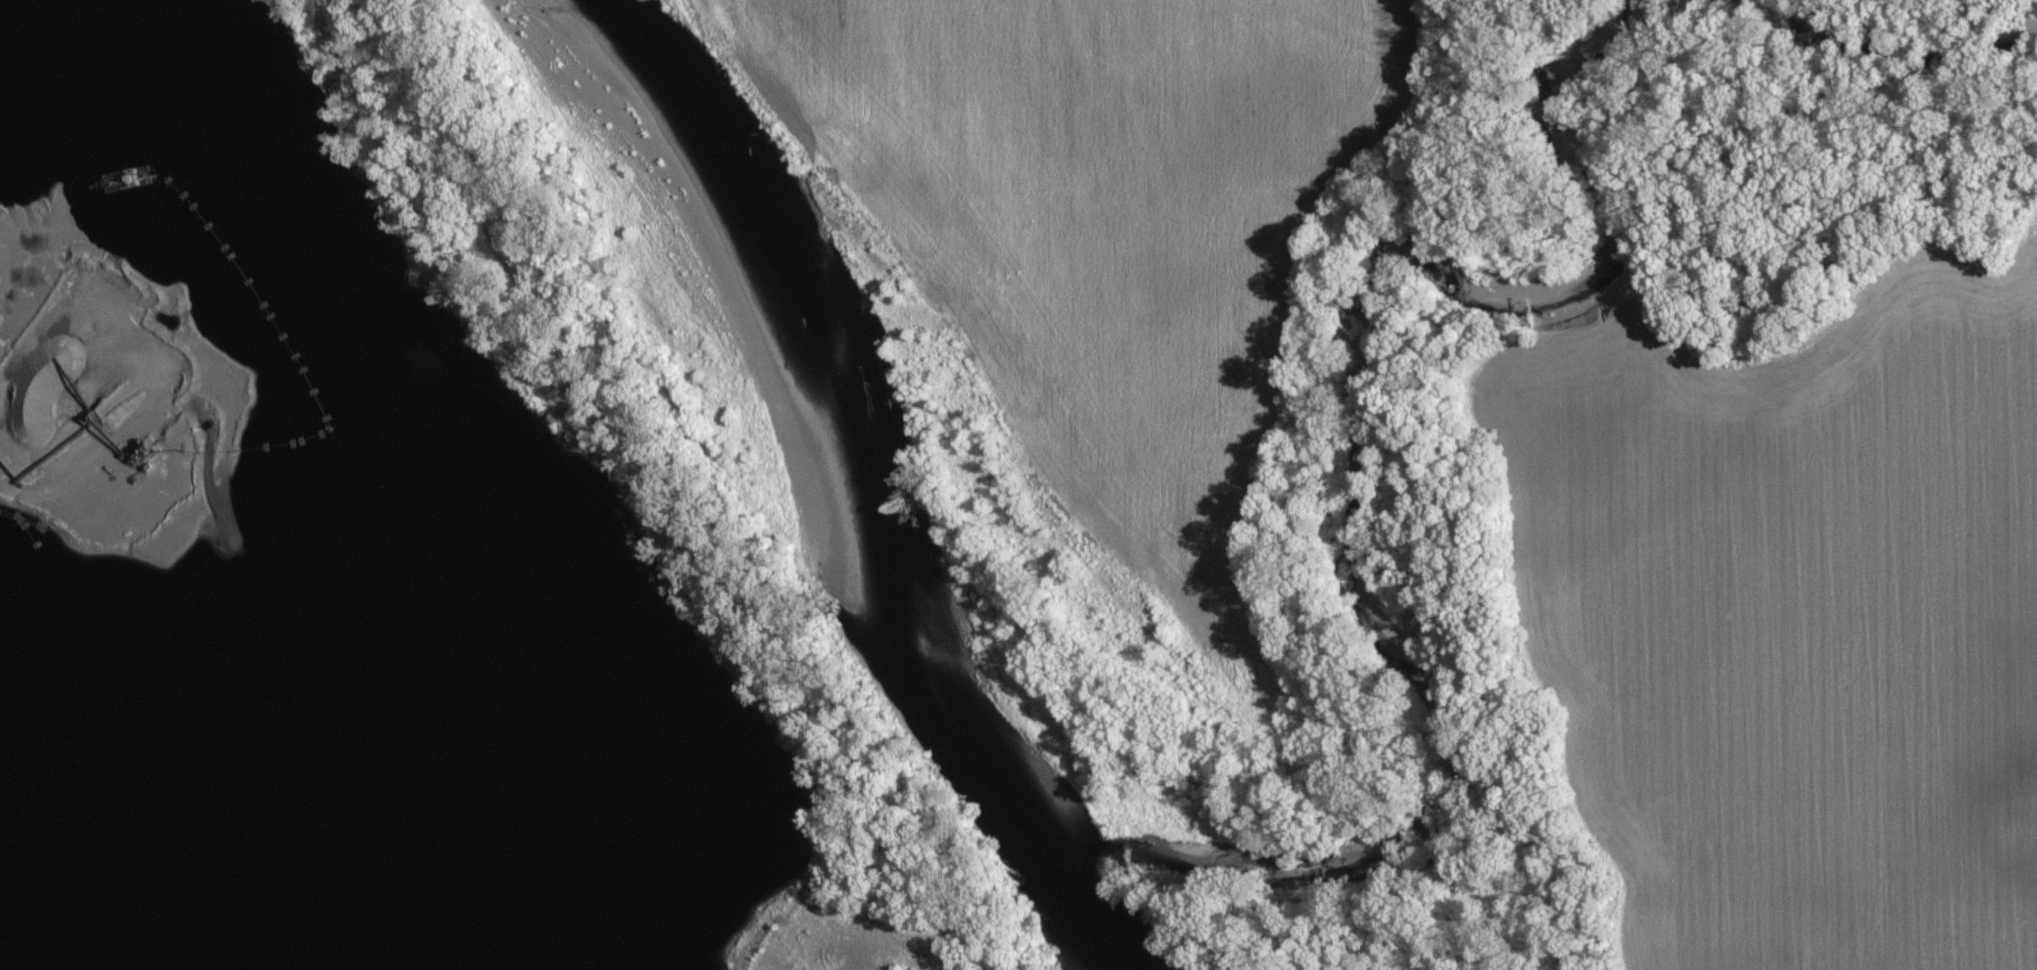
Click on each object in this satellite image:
river: (831, 494)

